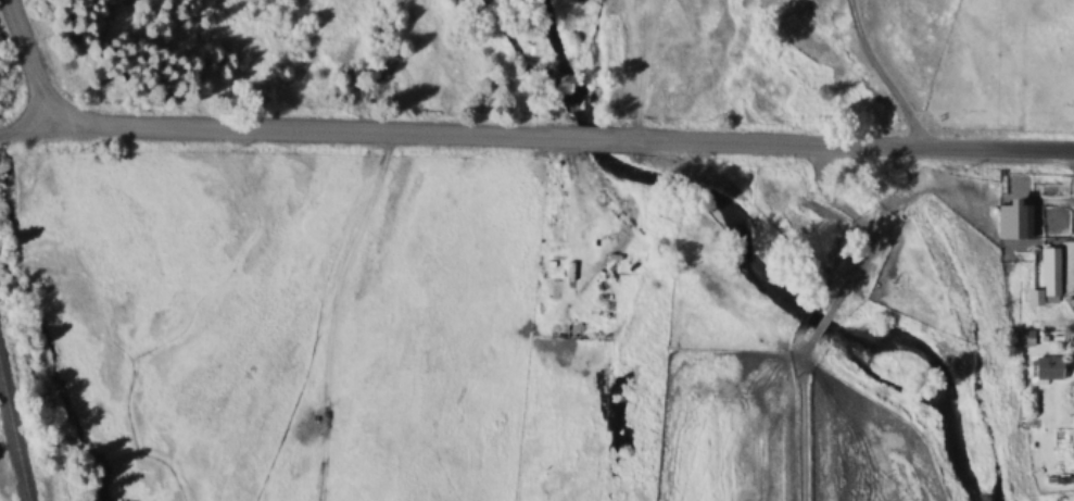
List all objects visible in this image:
road: (28, 62)
road: (24, 127)
road: (304, 130)
road: (612, 138)
road: (870, 147)
building: (1011, 216)
crop: (857, 253)
river: (729, 261)
building: (1050, 272)
building: (1043, 367)
railway: (20, 412)
building: (34, 491)

